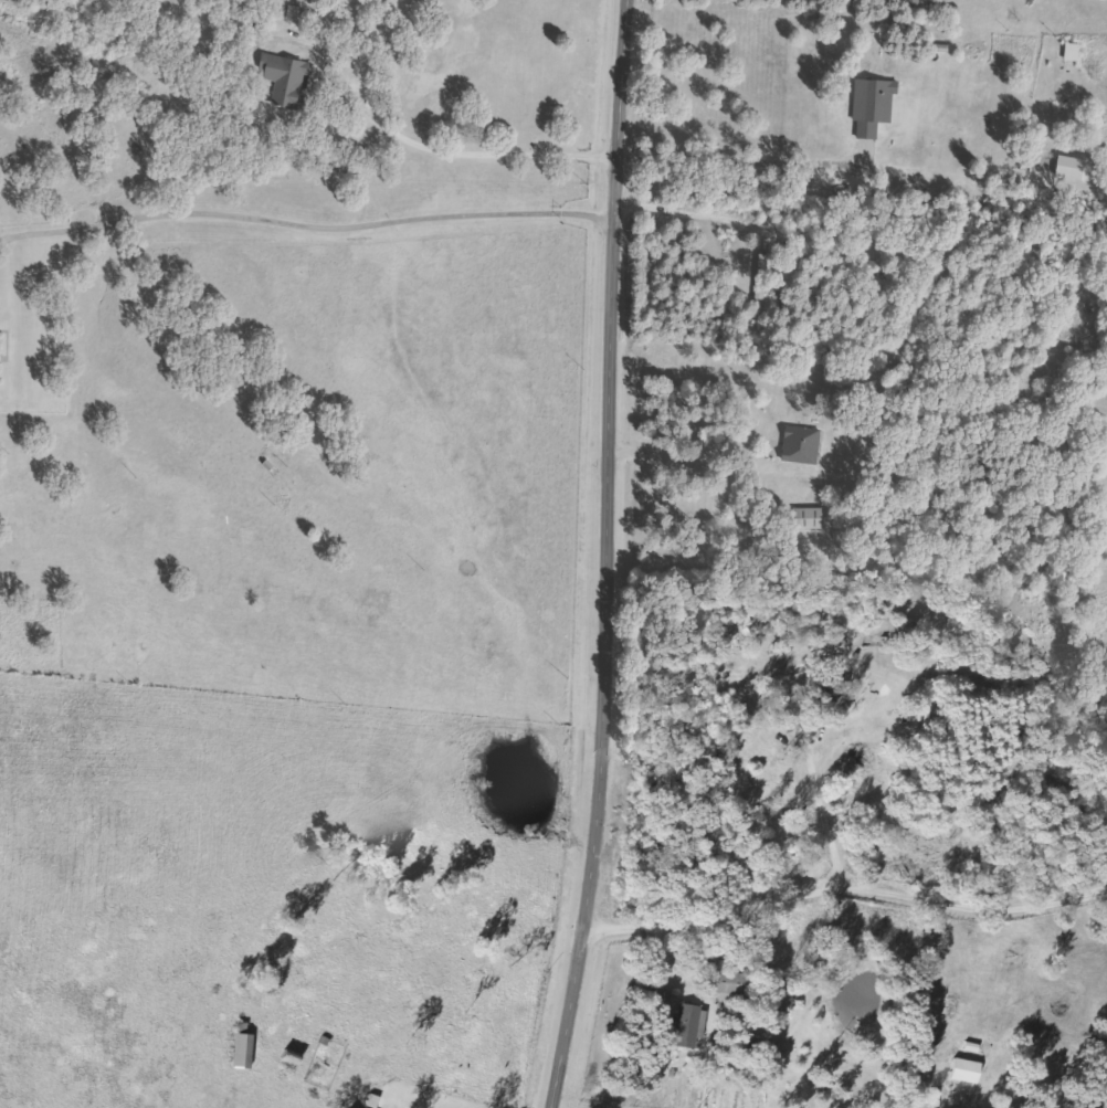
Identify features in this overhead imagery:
building: (1077, 53)
building: (292, 77)
building: (878, 106)
building: (1076, 168)
building: (766, 279)
building: (2, 359)
building: (805, 447)
building: (814, 519)
road: (609, 556)
building: (835, 695)
road: (819, 827)
building: (688, 1026)
building: (246, 1052)
building: (961, 1070)

